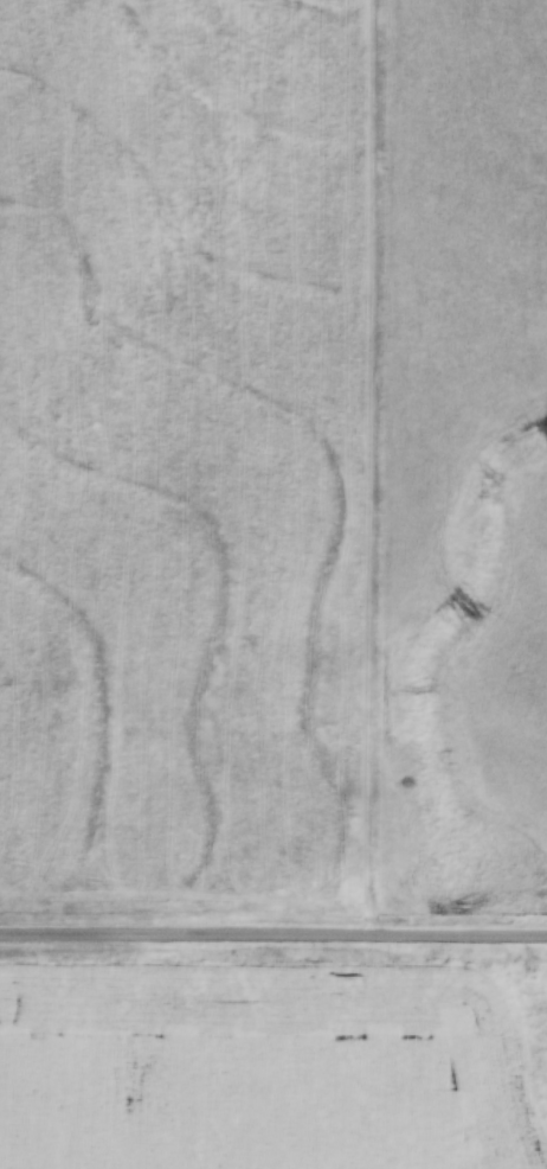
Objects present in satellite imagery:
road: (273, 939)

